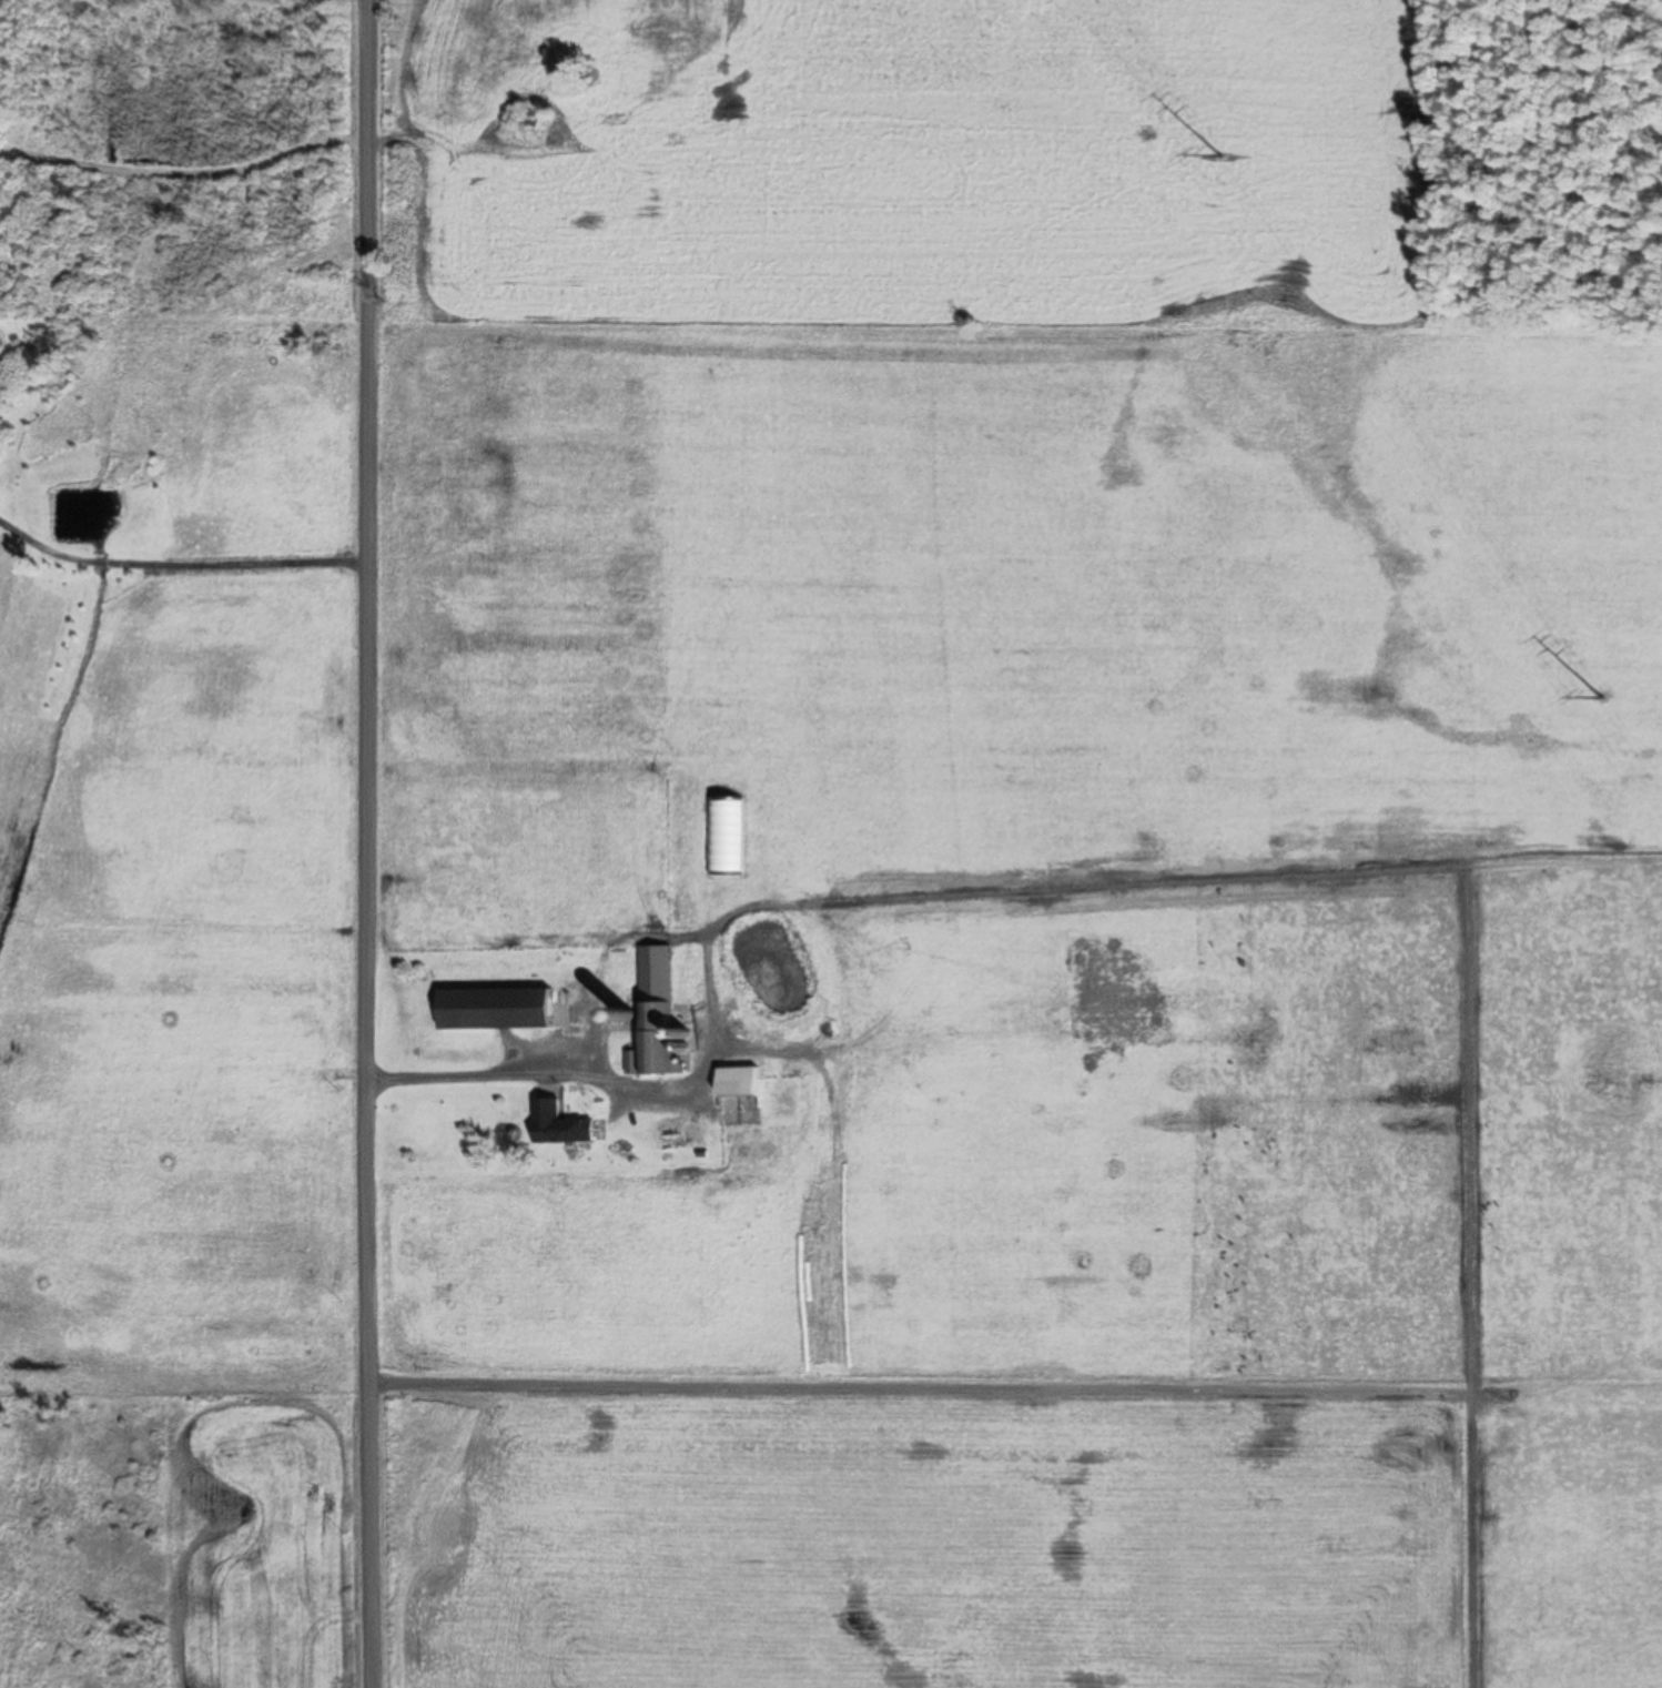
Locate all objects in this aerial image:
power tower: (1219, 156)
power tower: (1601, 701)
building: (723, 838)
road: (387, 843)
building: (493, 1011)
building: (652, 1017)
building: (736, 1084)
building: (557, 1126)

